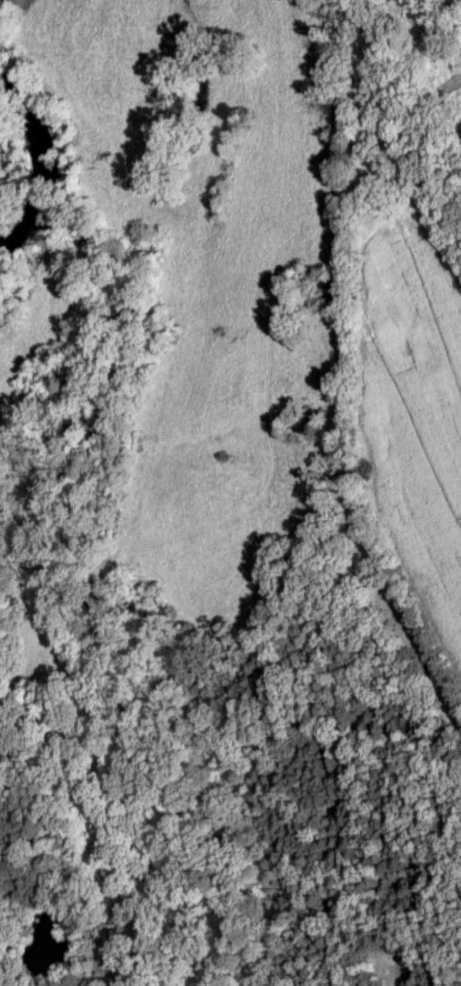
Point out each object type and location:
river: (37, 164)
building: (306, 425)

